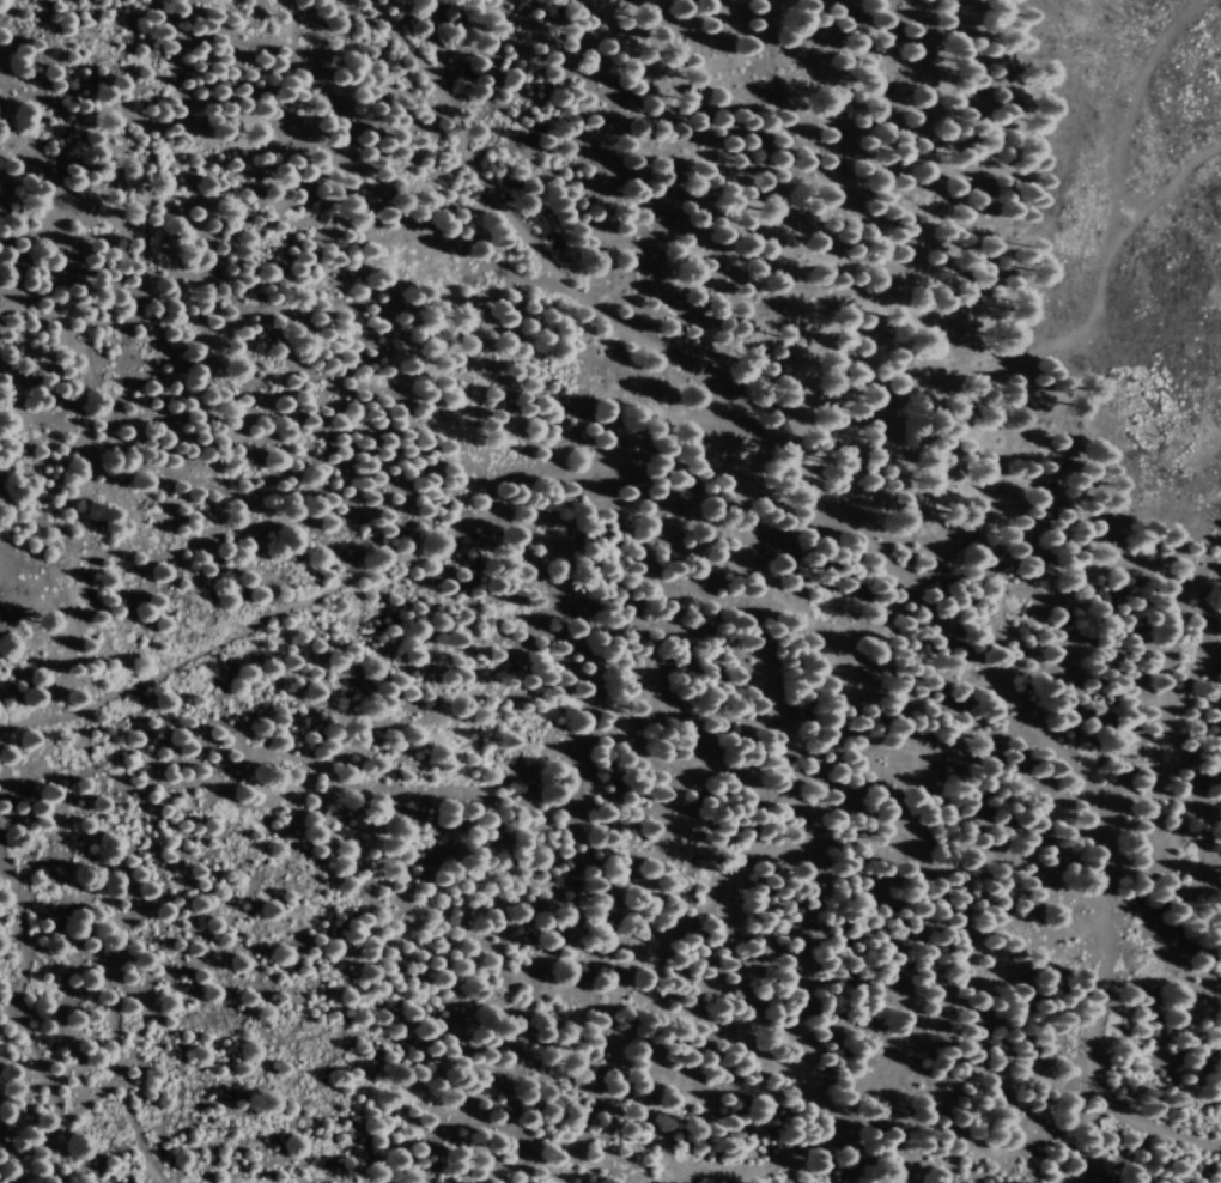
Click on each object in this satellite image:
road: (877, 532)

